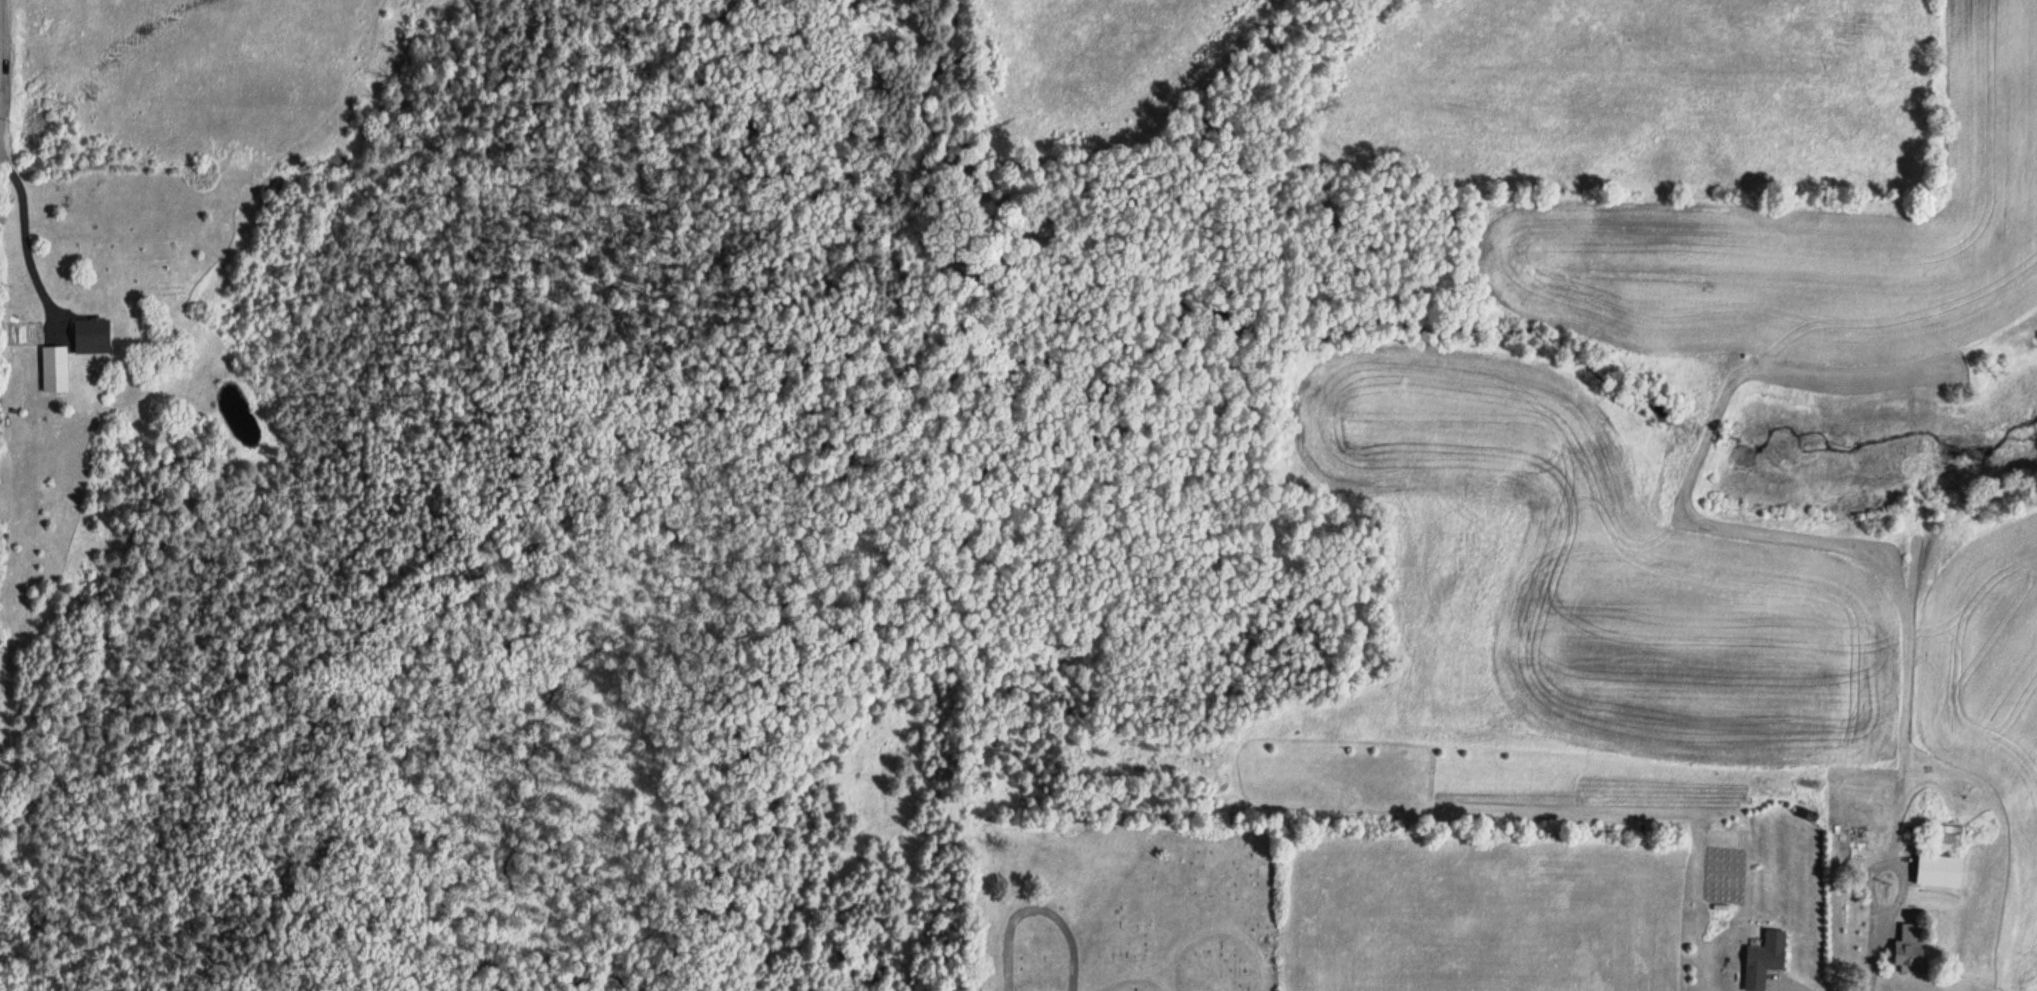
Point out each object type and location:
road: (58, 162)
building: (33, 334)
building: (90, 336)
building: (54, 369)
building: (1943, 843)
building: (1938, 872)
road: (1038, 910)
park: (1112, 910)
road: (1216, 933)
road: (1873, 935)
building: (1909, 949)
building: (1764, 960)
road: (1124, 976)

